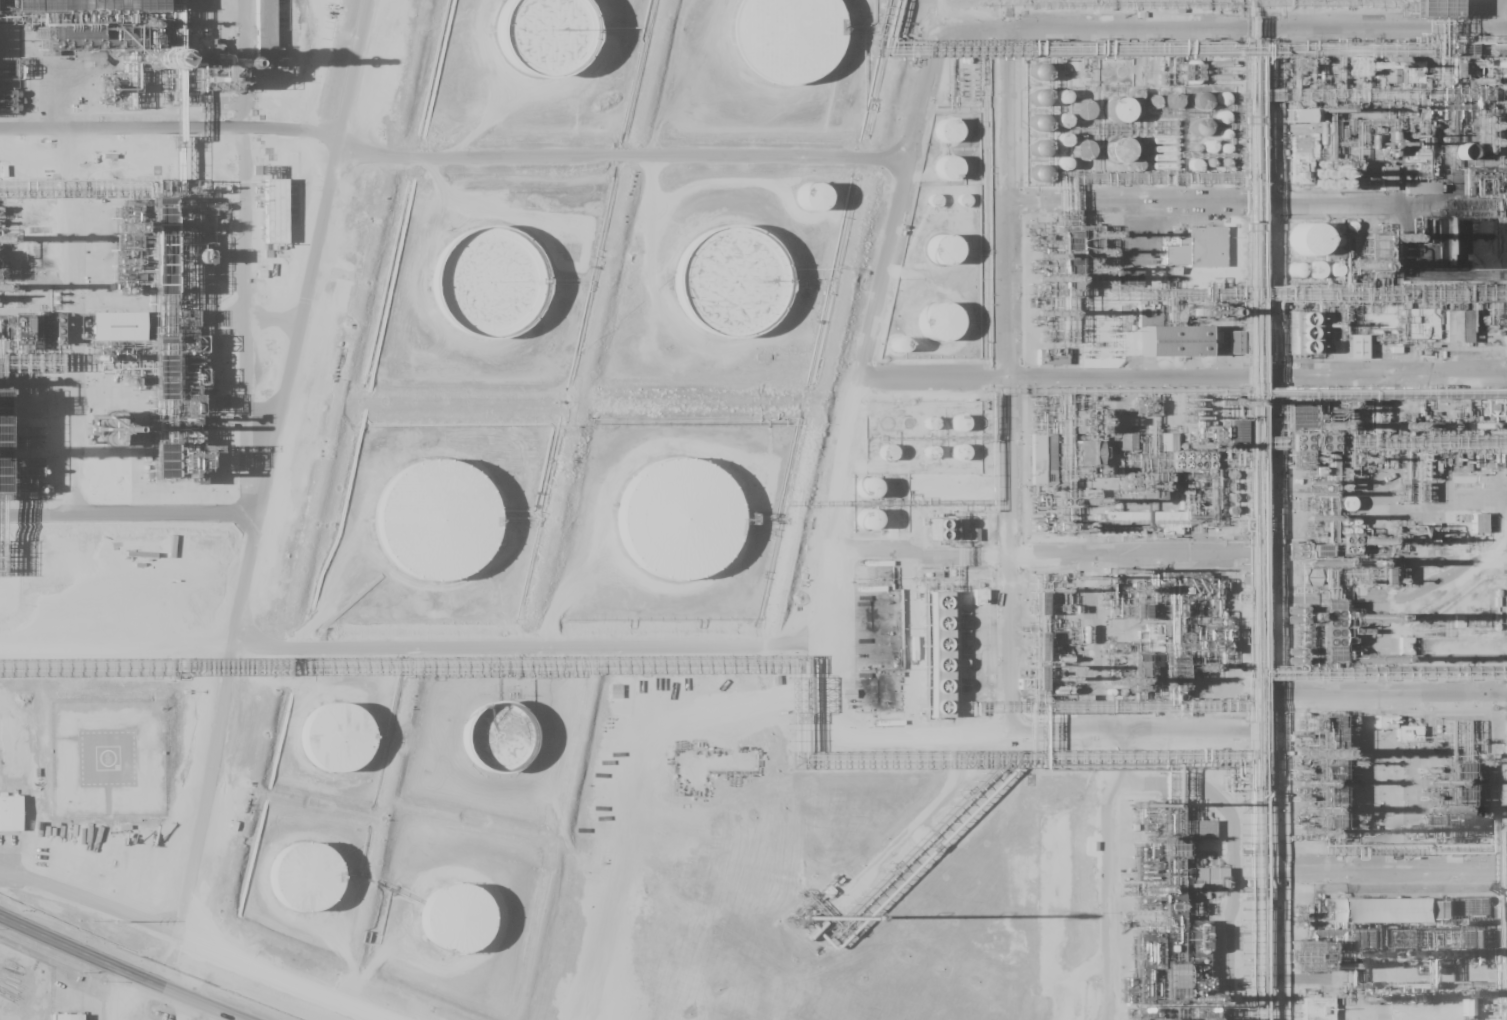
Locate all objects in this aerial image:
building: (1432, 8)
road: (1219, 30)
building: (264, 32)
building: (795, 41)
storage tank: (795, 41)
building: (558, 42)
storage tank: (558, 42)
building: (1060, 97)
building: (1171, 101)
building: (1198, 101)
building: (1082, 109)
building: (1116, 109)
building: (1299, 115)
building: (1061, 119)
building: (1128, 119)
storage tank: (1128, 119)
building: (1309, 126)
building: (946, 130)
building: (955, 138)
storage tank: (955, 138)
building: (1060, 140)
building: (1117, 149)
building: (1082, 150)
building: (1129, 161)
storage tank: (1129, 161)
building: (946, 168)
building: (956, 174)
storage tank: (956, 174)
building: (1393, 182)
building: (1420, 188)
building: (1427, 192)
building: (810, 197)
road: (1255, 203)
building: (825, 208)
storage tank: (825, 208)
building: (282, 216)
building: (39, 230)
building: (1305, 238)
building: (1195, 248)
building: (941, 249)
building: (1323, 250)
storage tank: (1323, 250)
building: (953, 258)
storage tank: (953, 258)
building: (1314, 269)
building: (1332, 270)
building: (498, 287)
storage tank: (498, 287)
building: (735, 294)
storage tank: (735, 294)
building: (948, 332)
storage tank: (948, 332)
building: (1302, 332)
building: (1462, 332)
building: (127, 334)
building: (1233, 342)
building: (1355, 347)
building: (1186, 351)
building: (1363, 351)
road: (1254, 373)
road: (850, 405)
road: (1004, 422)
building: (958, 423)
building: (958, 452)
building: (1049, 467)
road: (272, 487)
building: (866, 487)
road: (133, 515)
building: (866, 519)
building: (1477, 523)
building: (446, 528)
storage tank: (446, 528)
building: (689, 528)
storage tank: (689, 528)
road: (920, 554)
road: (1010, 638)
building: (937, 654)
building: (615, 691)
road: (1098, 733)
building: (1407, 734)
building: (508, 745)
storage tank: (508, 745)
building: (349, 748)
storage tank: (349, 748)
building: (13, 818)
building: (1202, 830)
building: (1204, 878)
building: (311, 882)
storage tank: (311, 882)
building: (1331, 910)
building: (1450, 910)
building: (1394, 915)
power tower: (114, 921)
building: (465, 928)
storage tank: (465, 928)
road: (143, 963)
building: (1316, 1009)
building: (66, 1017)

